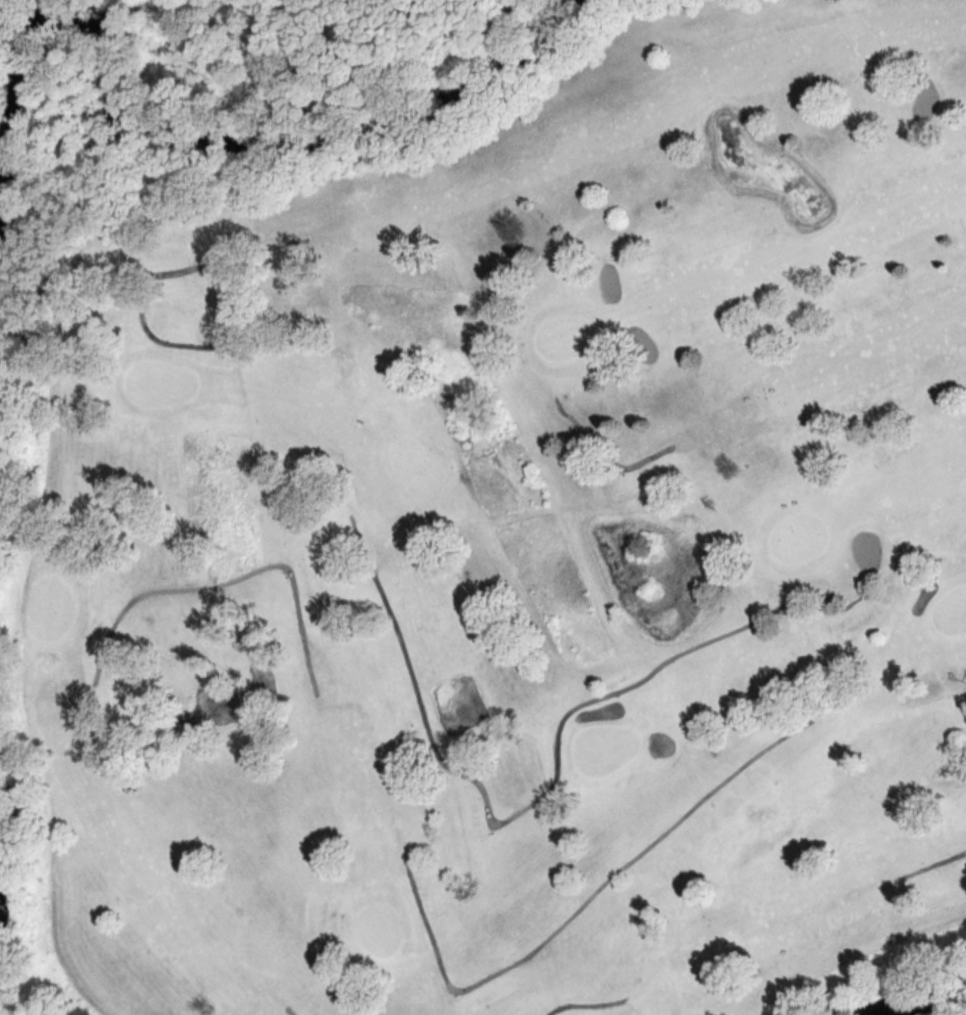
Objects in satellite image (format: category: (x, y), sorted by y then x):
river: (238, 143)
park: (505, 548)

